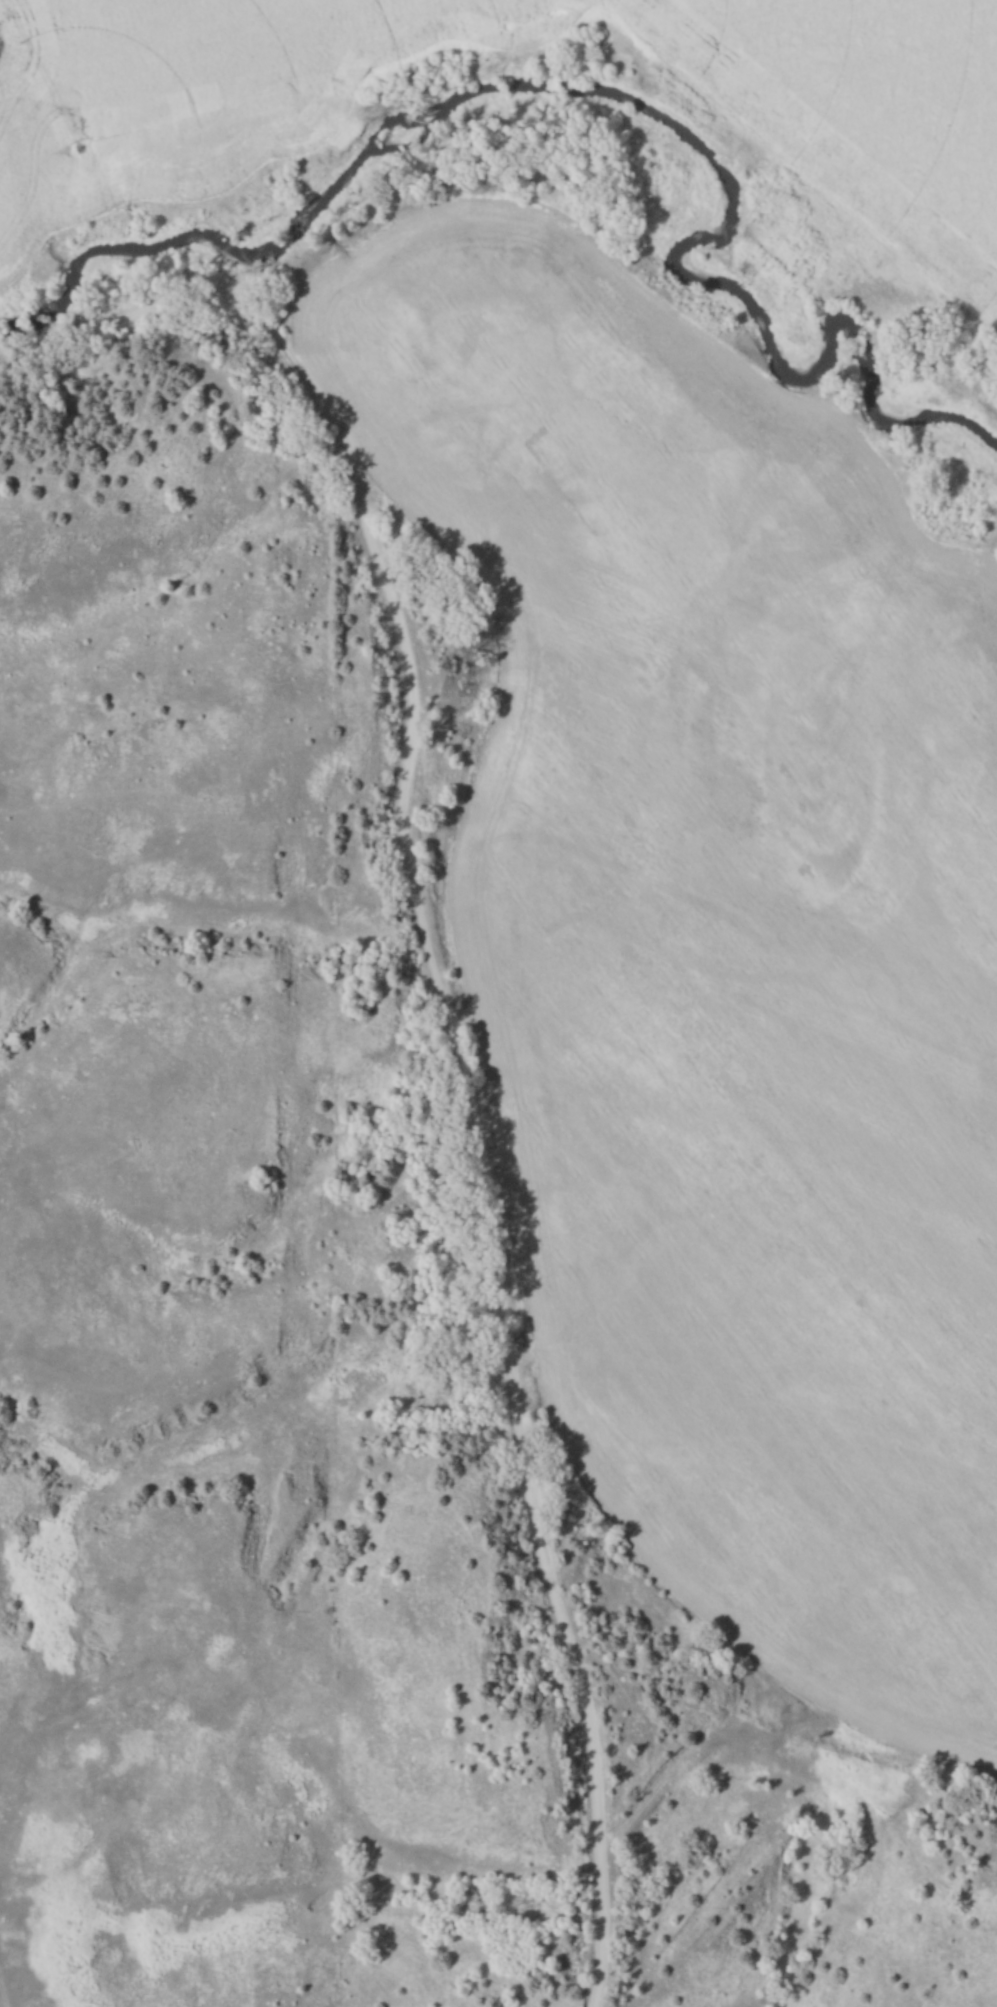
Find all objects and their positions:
crop: (131, 158)
crop: (941, 240)

